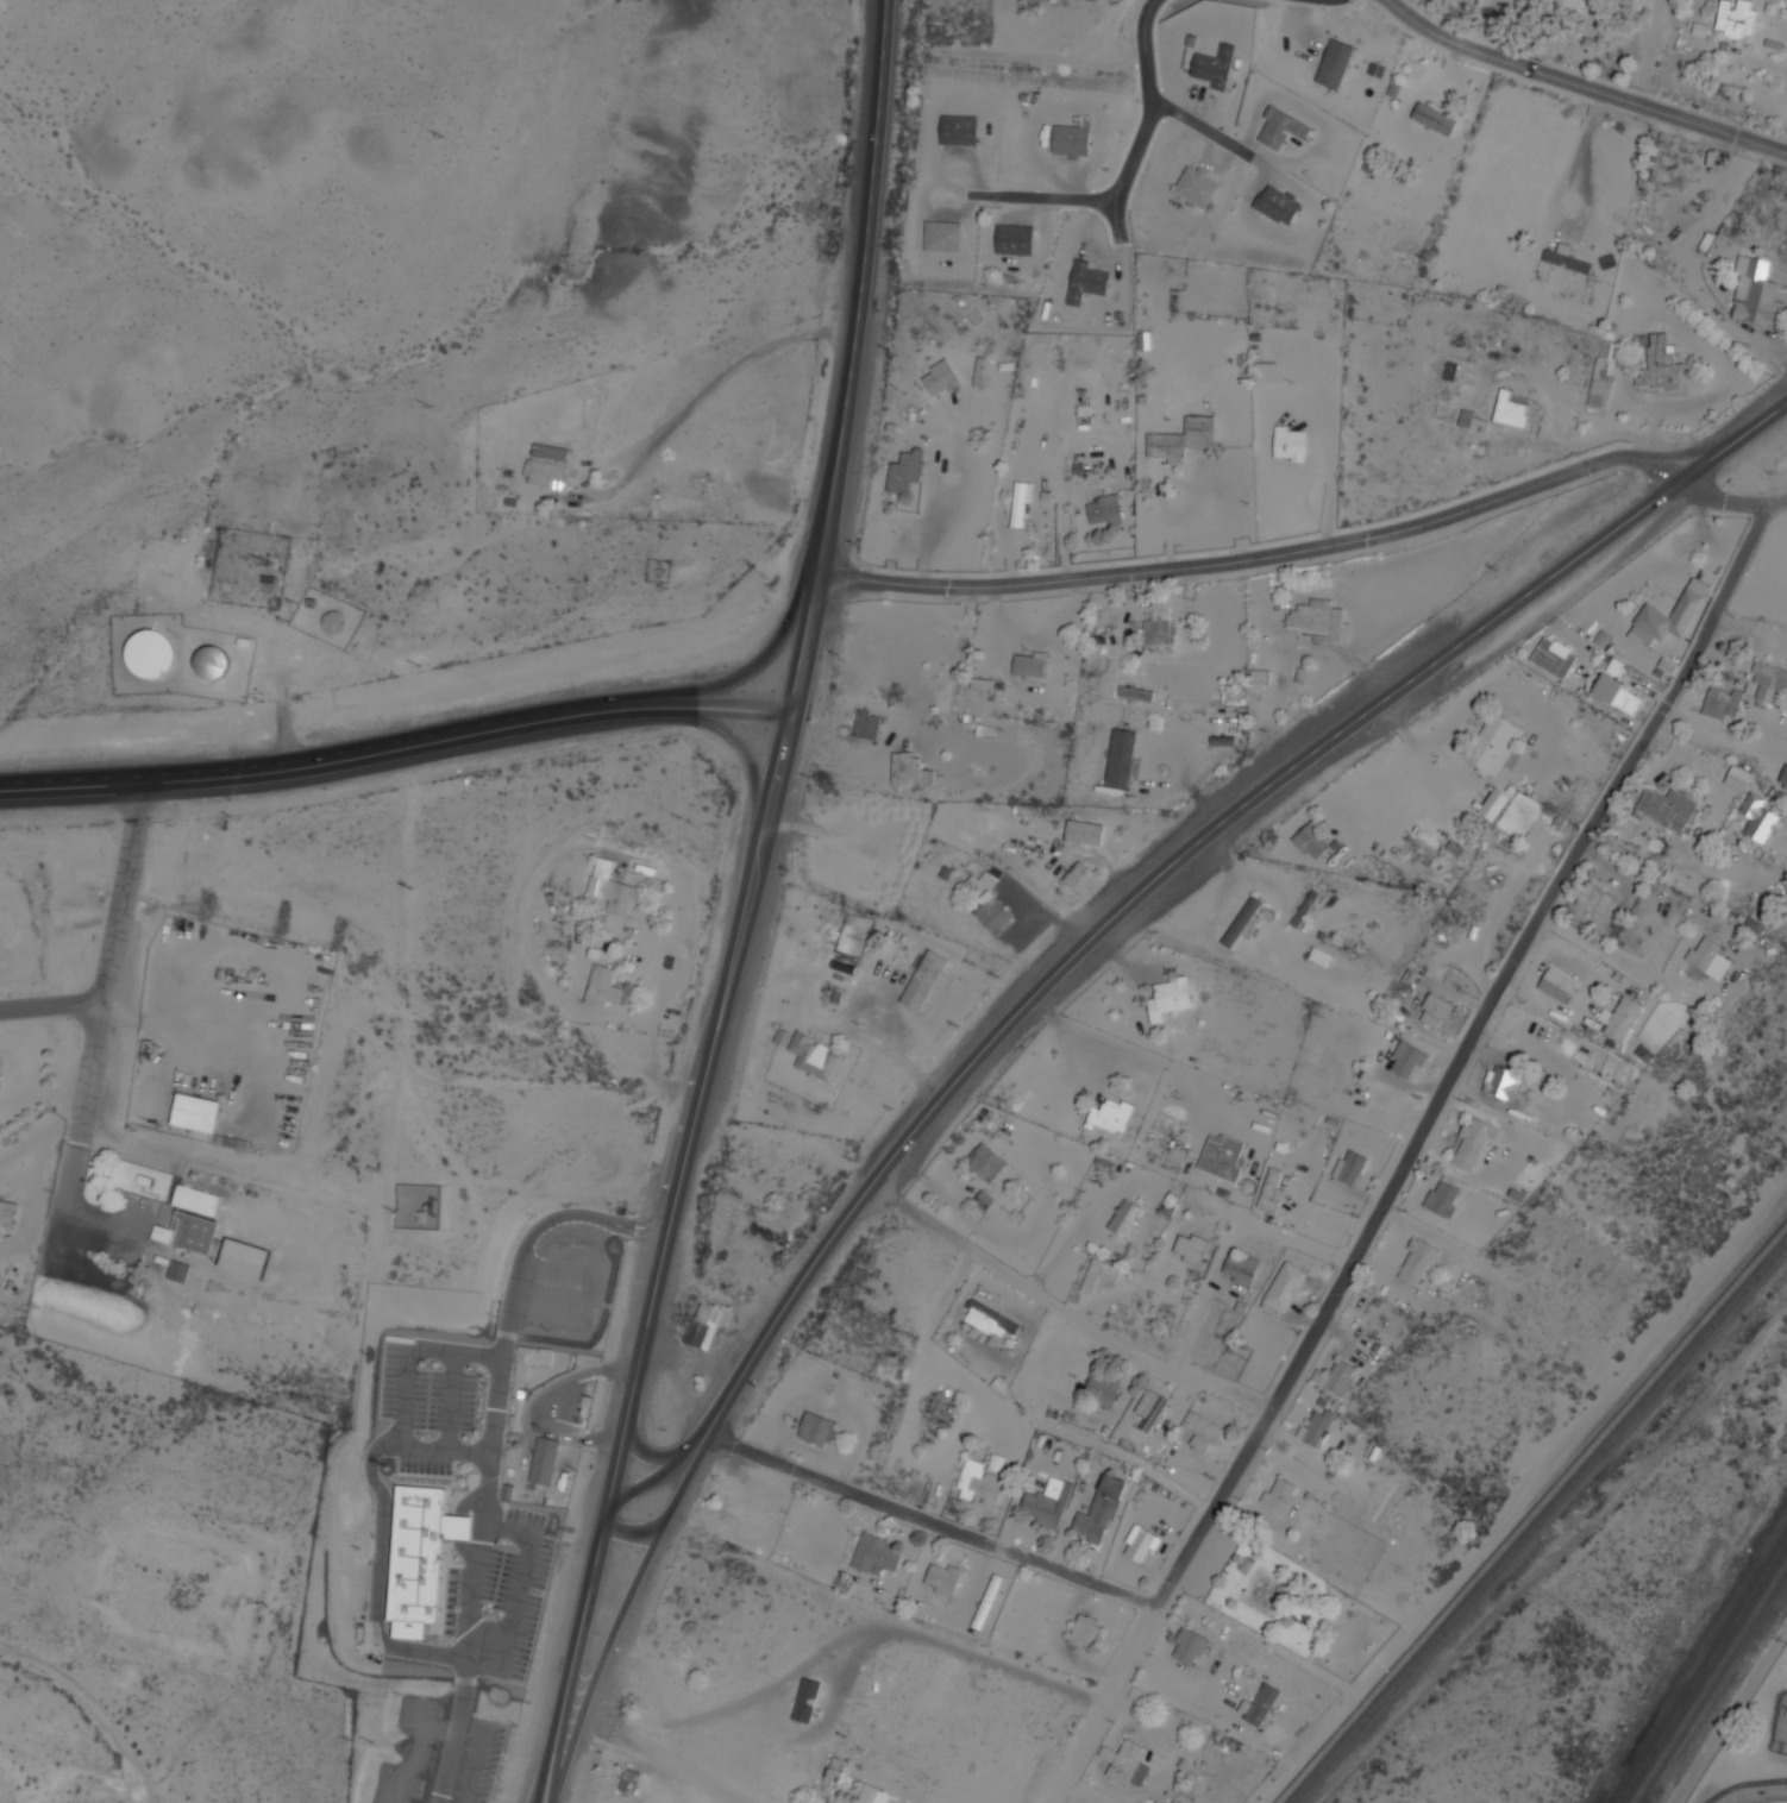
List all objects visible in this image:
building: (1735, 17)
building: (1334, 63)
building: (1214, 65)
road: (1582, 87)
building: (1434, 118)
road: (1202, 125)
building: (1280, 127)
building: (958, 130)
building: (1071, 139)
road: (1128, 167)
building: (1196, 186)
building: (1277, 205)
road: (1553, 209)
road: (1115, 215)
building: (942, 235)
building: (1014, 239)
building: (1566, 258)
building: (1085, 282)
building: (1755, 294)
road: (855, 357)
building: (1661, 366)
building: (940, 377)
building: (1601, 377)
building: (1510, 410)
building: (1471, 421)
building: (1180, 439)
building: (1290, 444)
building: (551, 466)
building: (904, 471)
road: (1731, 498)
building: (1020, 502)
building: (1104, 508)
road: (1261, 557)
building: (1668, 616)
building: (1318, 620)
building: (336, 621)
storage tank: (336, 621)
building: (1158, 630)
road: (773, 639)
building: (151, 653)
storage tank: (151, 653)
building: (1553, 657)
building: (212, 661)
storage tank: (212, 661)
building: (1030, 666)
building: (1768, 680)
building: (982, 683)
building: (1136, 693)
building: (1617, 695)
building: (1723, 703)
building: (866, 724)
road: (734, 730)
road: (397, 741)
building: (1494, 743)
building: (1120, 758)
building: (909, 769)
building: (1737, 777)
building: (1783, 777)
building: (1494, 803)
building: (1664, 809)
road: (1233, 811)
building: (1758, 818)
building: (1086, 833)
building: (1311, 841)
building: (1455, 853)
building: (854, 872)
building: (1076, 873)
building: (612, 888)
building: (1594, 896)
building: (996, 913)
building: (1243, 923)
road: (1515, 955)
building: (1708, 957)
building: (924, 980)
road: (106, 981)
building: (1556, 985)
building: (603, 987)
building: (1168, 998)
road: (51, 1004)
building: (1435, 1010)
building: (1619, 1018)
building: (782, 1036)
building: (815, 1057)
building: (1406, 1058)
building: (1503, 1082)
road: (698, 1107)
building: (195, 1114)
building: (1110, 1117)
building: (1473, 1142)
building: (1222, 1156)
building: (985, 1162)
building: (1349, 1167)
building: (144, 1181)
building: (1271, 1189)
building: (1442, 1199)
building: (197, 1201)
building: (8, 1214)
building: (1123, 1217)
road: (650, 1223)
building: (192, 1244)
building: (1190, 1248)
building: (162, 1261)
building: (1417, 1262)
building: (1241, 1269)
building: (178, 1271)
building: (1285, 1288)
road: (1067, 1302)
building: (990, 1318)
building: (702, 1326)
building: (528, 1362)
building: (1336, 1376)
building: (1101, 1390)
road: (453, 1402)
building: (1150, 1408)
building: (939, 1412)
road: (701, 1425)
building: (1317, 1427)
building: (1202, 1430)
building: (814, 1431)
road: (654, 1447)
road: (441, 1450)
building: (541, 1460)
building: (992, 1464)
road: (491, 1472)
building: (977, 1484)
road: (380, 1487)
building: (504, 1494)
building: (1279, 1495)
building: (1047, 1502)
road: (1211, 1507)
building: (1101, 1509)
building: (738, 1514)
road: (924, 1515)
railway: (1532, 1515)
railway: (1540, 1522)
road: (634, 1528)
building: (1140, 1543)
road: (647, 1556)
building: (872, 1556)
building: (419, 1557)
parking lot: (1211, 1563)
building: (1241, 1566)
building: (940, 1581)
road: (520, 1583)
building: (978, 1603)
park: (1283, 1603)
building: (1283, 1622)
building: (1083, 1634)
building: (1190, 1648)
road: (573, 1654)
railway: (1701, 1670)
railway: (1708, 1682)
building: (803, 1702)
road: (1099, 1702)
building: (1255, 1707)
road: (1730, 1713)
road: (663, 1759)
building: (1122, 1765)
building: (833, 1772)
building: (626, 1783)
building: (870, 1796)
building: (1768, 1798)
park: (1768, 1798)

